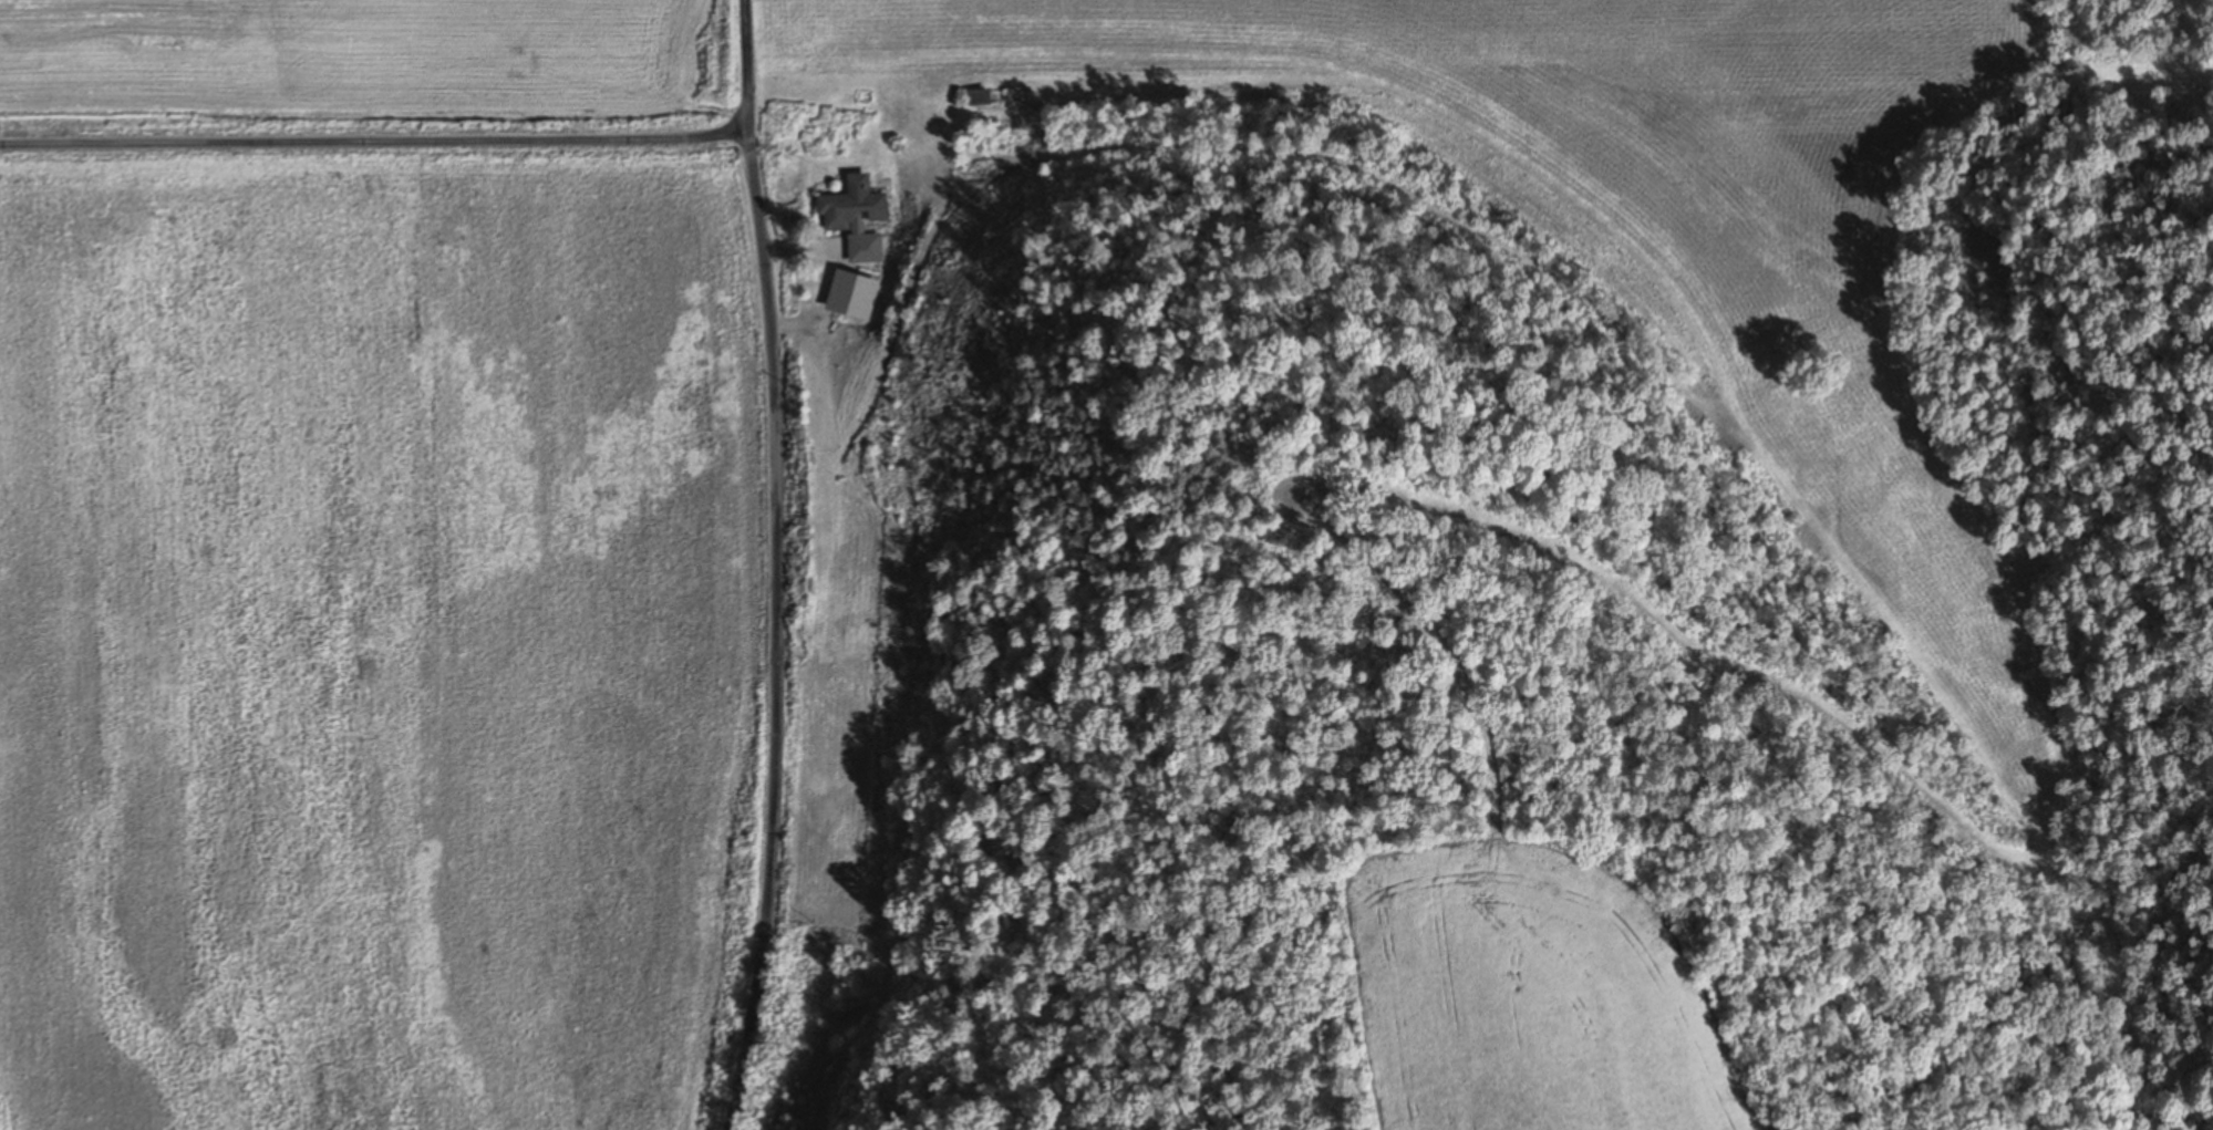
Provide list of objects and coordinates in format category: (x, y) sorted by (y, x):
building: (976, 100)
road: (373, 141)
building: (856, 206)
road: (780, 566)

